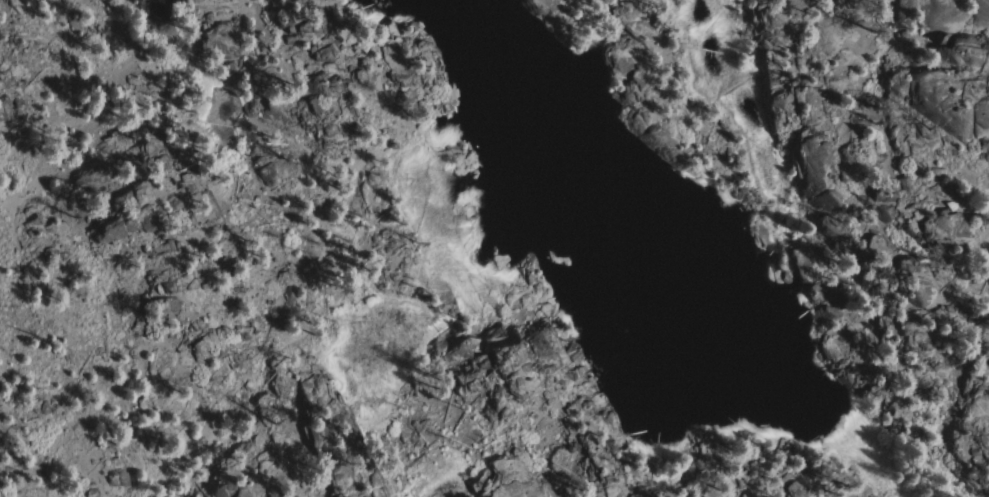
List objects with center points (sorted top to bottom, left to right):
road: (308, 256)

